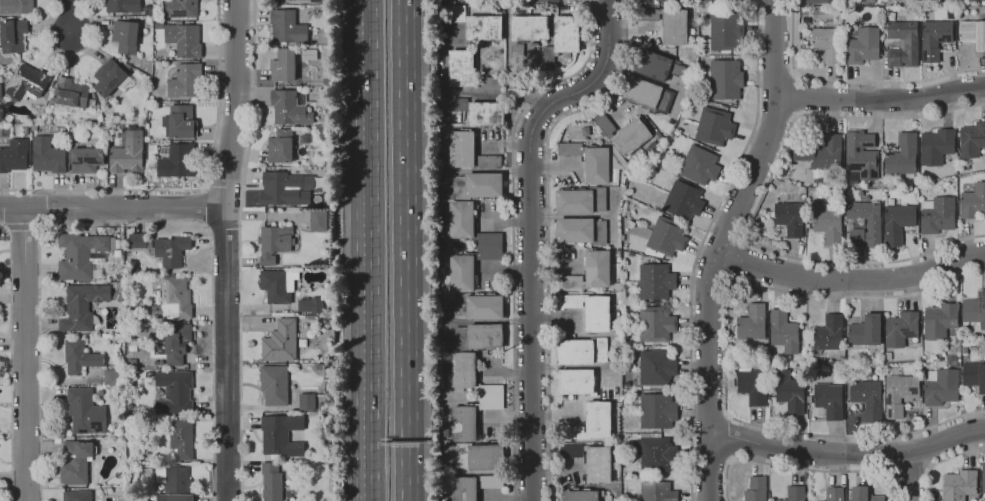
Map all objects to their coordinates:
building: (974, 0)
building: (548, 1)
building: (667, 1)
building: (716, 1)
road: (590, 2)
building: (824, 2)
road: (608, 5)
building: (15, 6)
building: (120, 6)
road: (774, 6)
building: (179, 8)
building: (823, 15)
road: (70, 18)
building: (284, 26)
building: (673, 26)
building: (482, 27)
building: (528, 27)
building: (724, 31)
building: (565, 33)
building: (973, 33)
building: (12, 35)
building: (124, 36)
building: (183, 39)
building: (935, 39)
building: (828, 44)
building: (903, 44)
building: (863, 46)
building: (546, 57)
building: (650, 64)
road: (792, 64)
building: (282, 65)
building: (460, 67)
building: (108, 77)
building: (724, 78)
building: (184, 80)
building: (26, 81)
road: (915, 81)
building: (69, 92)
building: (641, 92)
road: (792, 94)
road: (882, 100)
building: (288, 108)
building: (484, 113)
road: (818, 114)
road: (914, 116)
building: (180, 120)
building: (713, 126)
building: (630, 136)
building: (972, 140)
building: (281, 146)
building: (936, 146)
building: (566, 148)
building: (127, 152)
building: (467, 152)
building: (13, 155)
building: (46, 155)
building: (903, 156)
building: (860, 157)
building: (84, 159)
building: (175, 161)
building: (698, 164)
building: (595, 165)
building: (839, 182)
building: (476, 185)
building: (279, 190)
building: (598, 199)
building: (681, 199)
building: (573, 201)
building: (972, 202)
road: (111, 209)
building: (937, 215)
building: (788, 217)
building: (317, 220)
building: (897, 223)
building: (827, 224)
building: (857, 227)
road: (531, 230)
building: (579, 230)
road: (546, 231)
road: (512, 234)
building: (665, 236)
building: (136, 240)
building: (272, 242)
building: (489, 245)
road: (700, 245)
road: (721, 246)
building: (170, 249)
road: (223, 250)
road: (371, 250)
road: (403, 250)
building: (78, 254)
road: (865, 260)
road: (737, 261)
building: (596, 268)
road: (852, 279)
building: (567, 281)
building: (654, 281)
building: (275, 285)
road: (858, 297)
building: (172, 298)
building: (565, 300)
building: (80, 305)
building: (306, 305)
building: (483, 306)
building: (974, 310)
building: (596, 313)
building: (940, 320)
building: (750, 321)
building: (654, 324)
building: (900, 329)
building: (782, 331)
building: (865, 331)
building: (828, 332)
building: (483, 335)
building: (964, 339)
building: (175, 342)
building: (279, 342)
building: (580, 350)
building: (964, 350)
road: (24, 356)
building: (79, 356)
building: (655, 368)
building: (974, 376)
building: (923, 377)
building: (575, 381)
building: (272, 384)
building: (751, 386)
building: (941, 387)
building: (173, 391)
building: (788, 392)
building: (899, 392)
building: (490, 397)
building: (828, 399)
building: (868, 399)
building: (305, 401)
building: (656, 410)
building: (84, 411)
building: (597, 418)
road: (857, 432)
building: (279, 434)
road: (729, 437)
building: (180, 438)
building: (567, 450)
building: (654, 453)
road: (847, 455)
building: (477, 456)
building: (74, 462)
road: (941, 462)
building: (597, 463)
road: (912, 467)
road: (807, 469)
road: (910, 476)
building: (173, 478)
building: (983, 478)
building: (270, 481)
building: (959, 485)
building: (472, 486)
building: (754, 489)
building: (656, 491)
building: (793, 493)
building: (832, 494)
building: (864, 494)
building: (76, 495)
building: (578, 495)
building: (173, 497)

